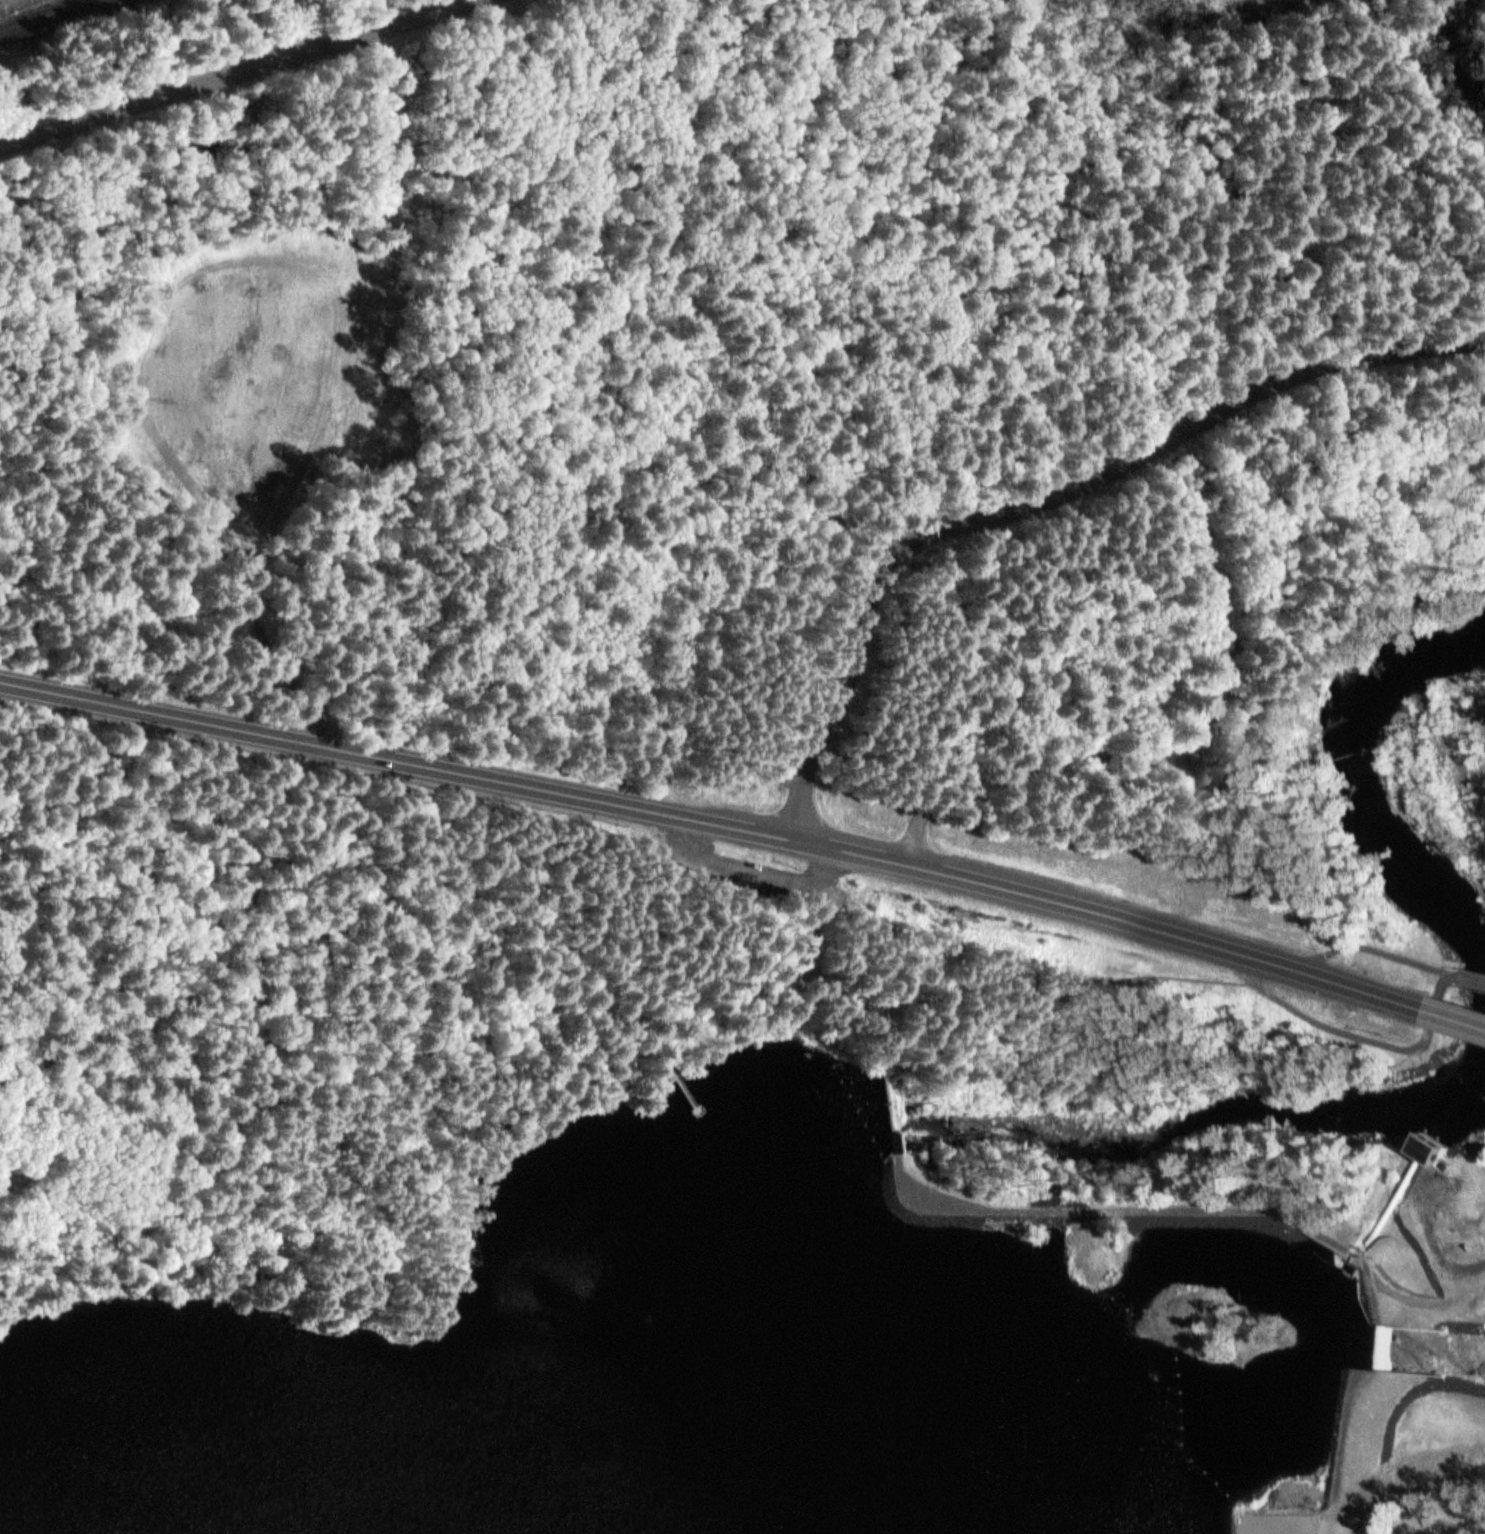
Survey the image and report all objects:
railway: (16, 5)
railway: (44, 15)
road: (237, 72)
road: (1047, 498)
building: (1245, 745)
river: (1353, 793)
road: (719, 823)
parking lot: (749, 878)
road: (770, 884)
road: (813, 929)
road: (697, 951)
road: (1380, 961)
road: (1471, 988)
road: (91, 1007)
road: (588, 1008)
road: (1434, 1013)
road: (1457, 1015)
road: (637, 1026)
road: (1329, 1035)
road: (660, 1061)
river: (1459, 1098)
dam: (893, 1110)
river: (1223, 1133)
river: (944, 1141)
building: (1427, 1146)
dam: (890, 1158)
dam: (1349, 1255)
dam: (1370, 1338)
park: (1369, 1517)

